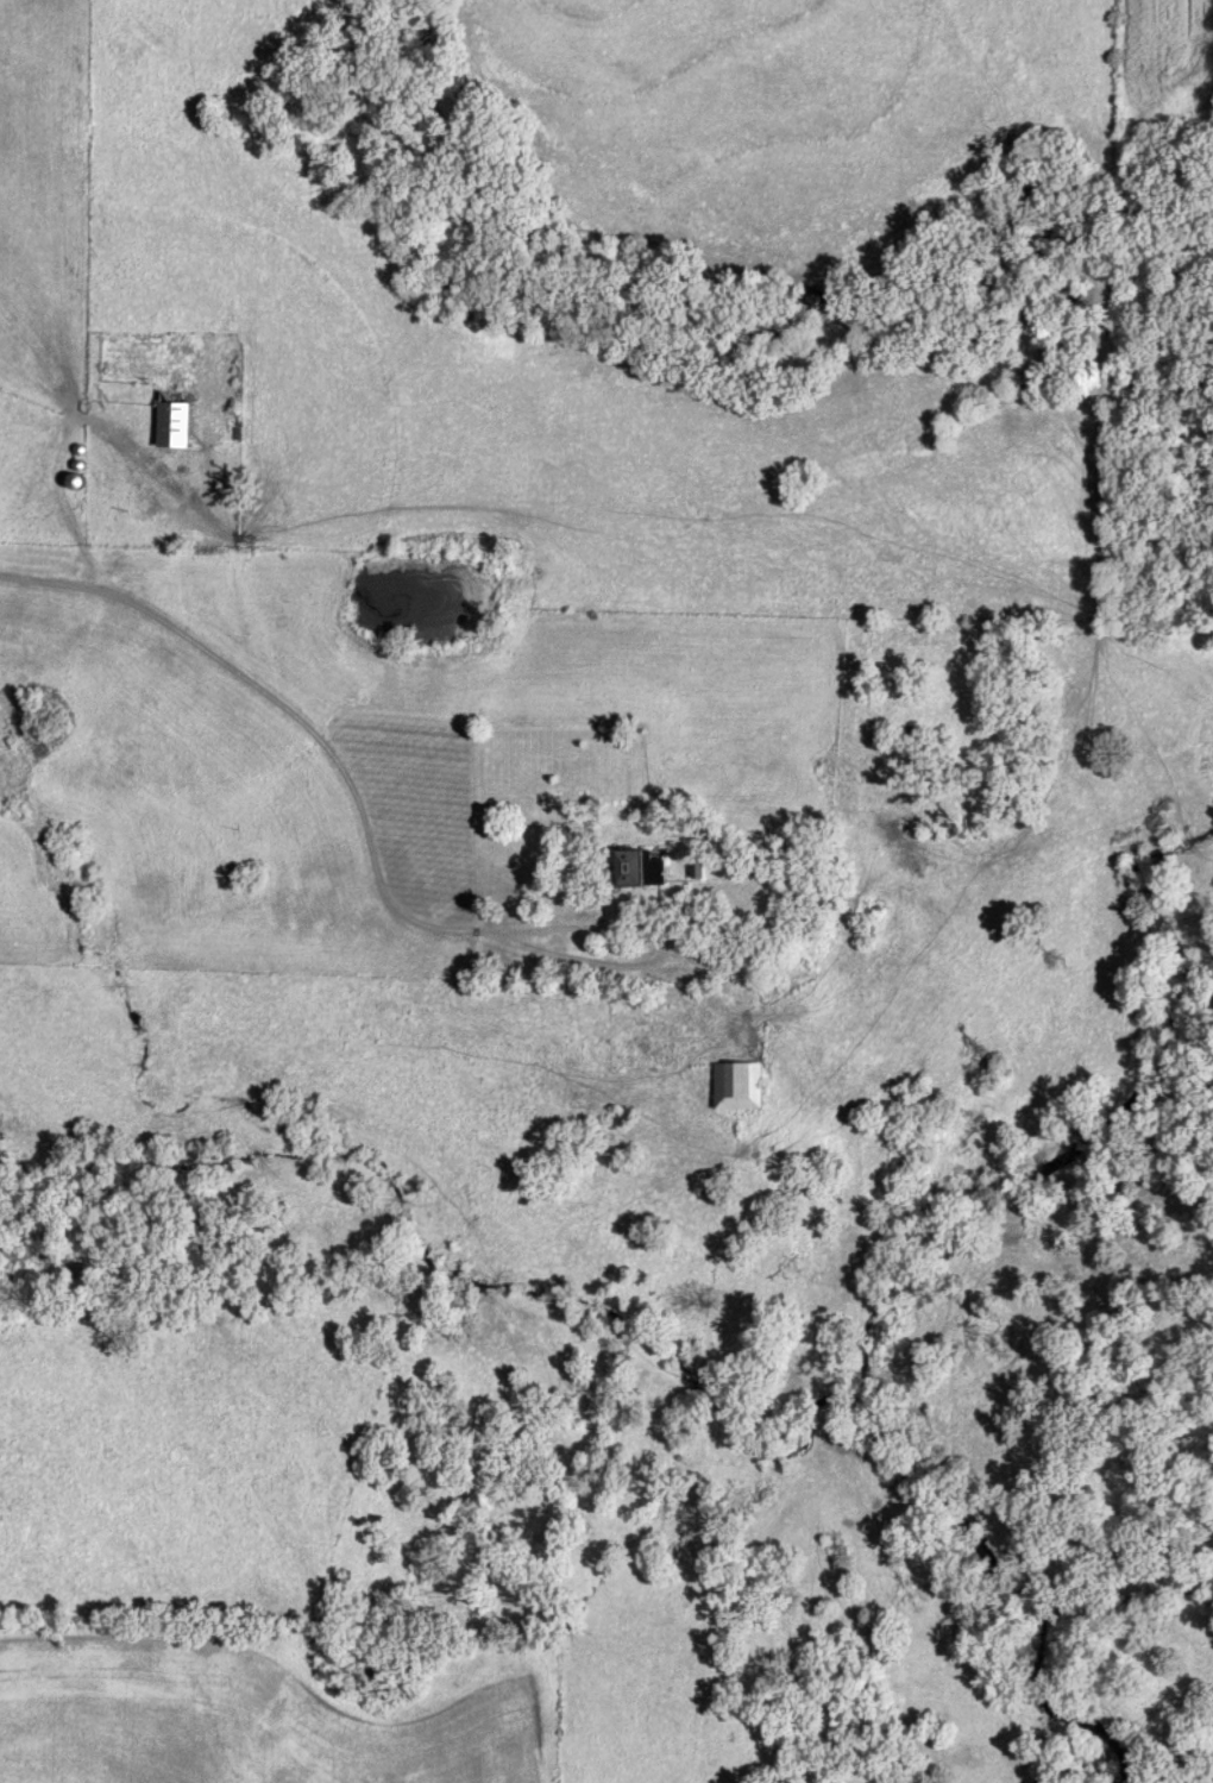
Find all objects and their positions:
building: (174, 416)
road: (345, 771)
building: (634, 866)
building: (696, 866)
building: (737, 1084)

